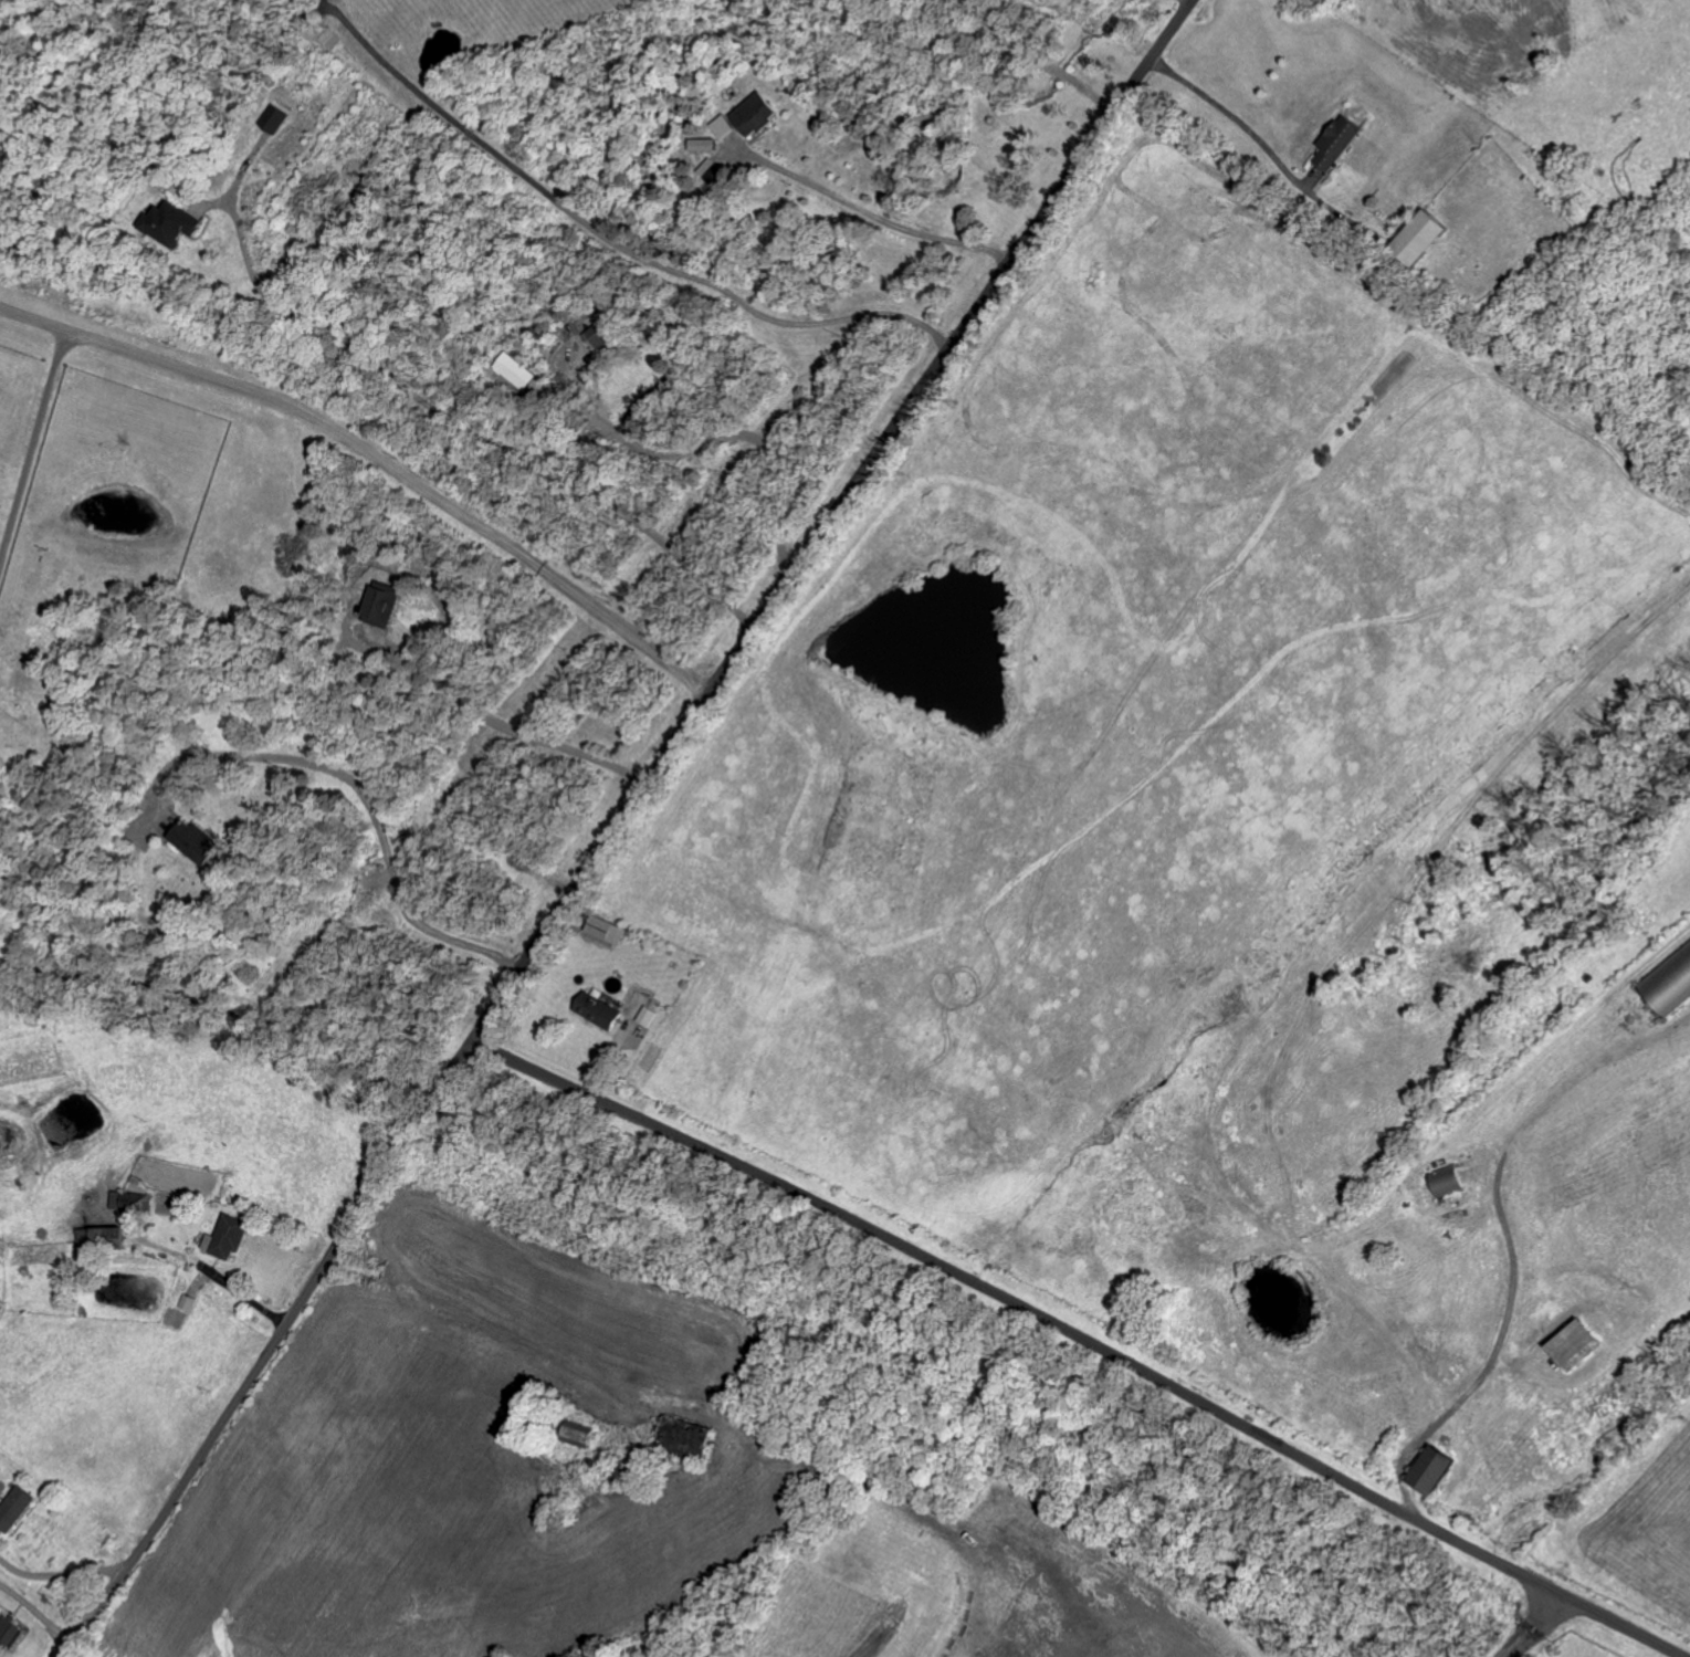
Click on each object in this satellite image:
road: (1189, 1)
road: (1039, 56)
building: (755, 115)
building: (724, 128)
road: (1253, 132)
building: (1341, 144)
building: (704, 146)
road: (880, 219)
building: (174, 226)
building: (1424, 240)
road: (610, 243)
building: (605, 335)
building: (515, 371)
road: (460, 422)
road: (713, 439)
road: (33, 447)
road: (377, 457)
building: (384, 607)
road: (504, 728)
road: (361, 795)
road: (619, 821)
building: (198, 842)
building: (608, 931)
building: (599, 1011)
building: (647, 1017)
building: (1450, 1181)
building: (137, 1205)
building: (229, 1238)
building: (188, 1303)
road: (495, 1329)
road: (1083, 1339)
building: (690, 1439)
building: (1437, 1470)
building: (15, 1510)
road: (60, 1576)
road: (1534, 1625)
building: (10, 1636)
road: (1182, 1644)

